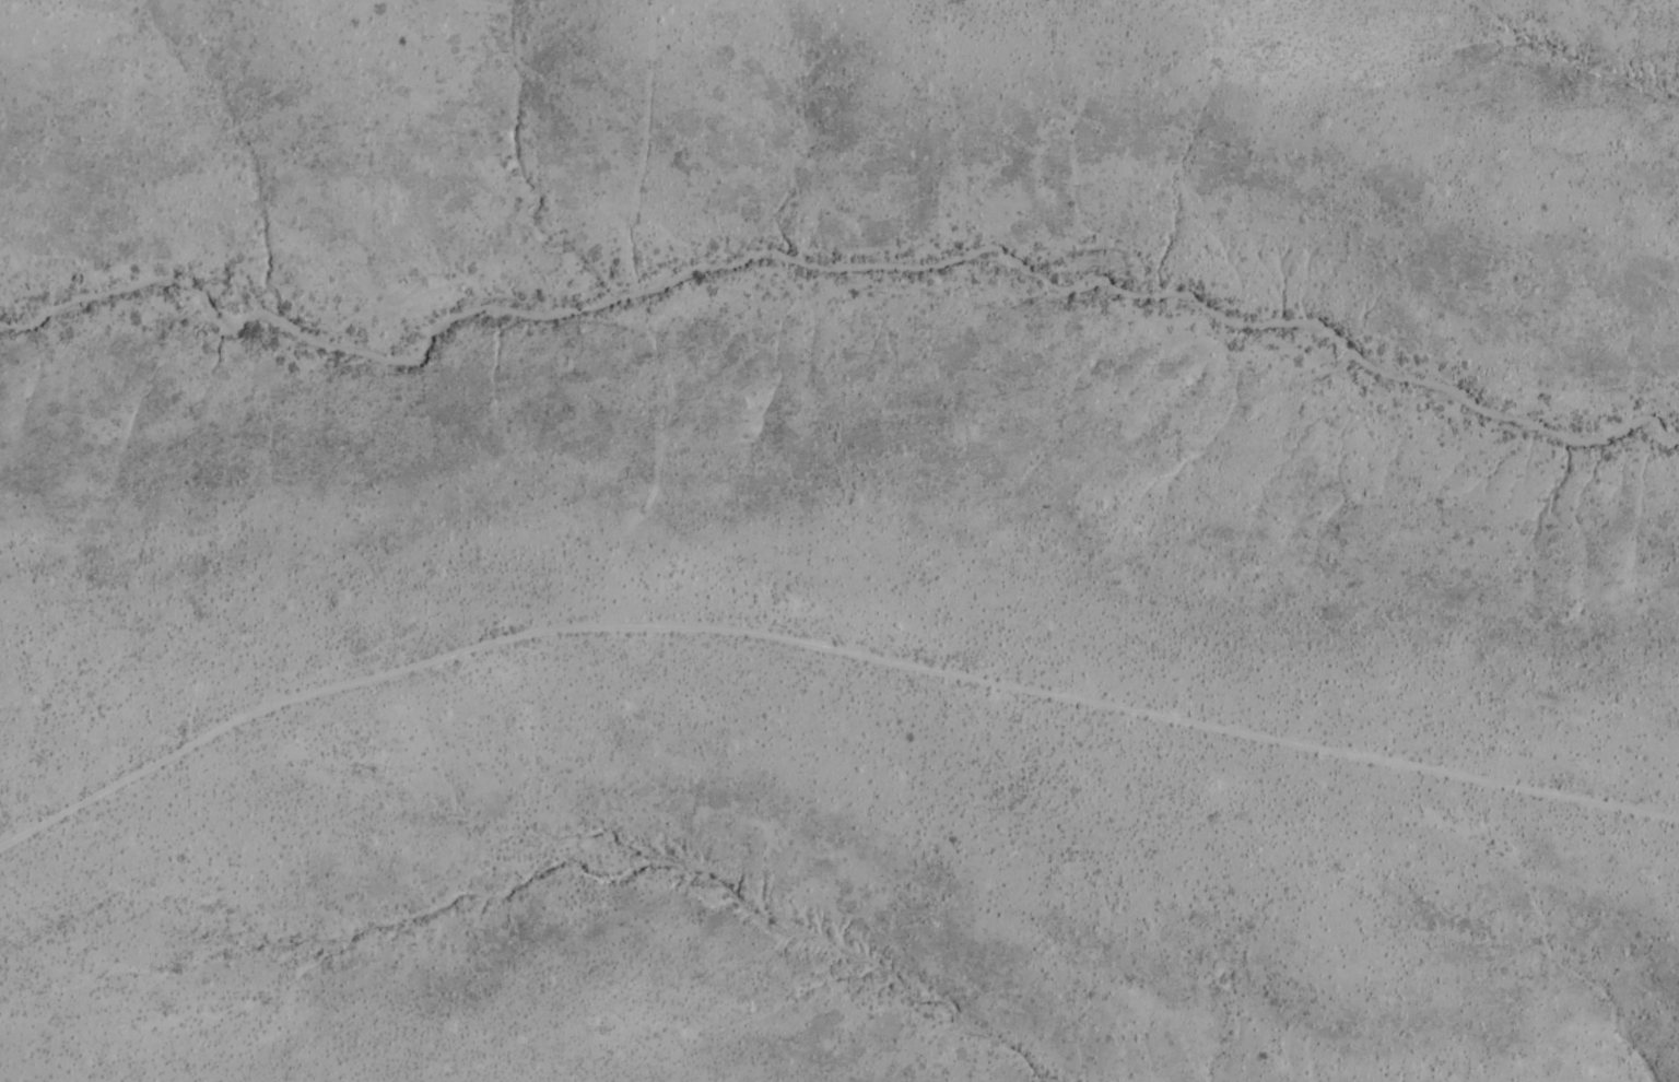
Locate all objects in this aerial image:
road: (822, 648)

